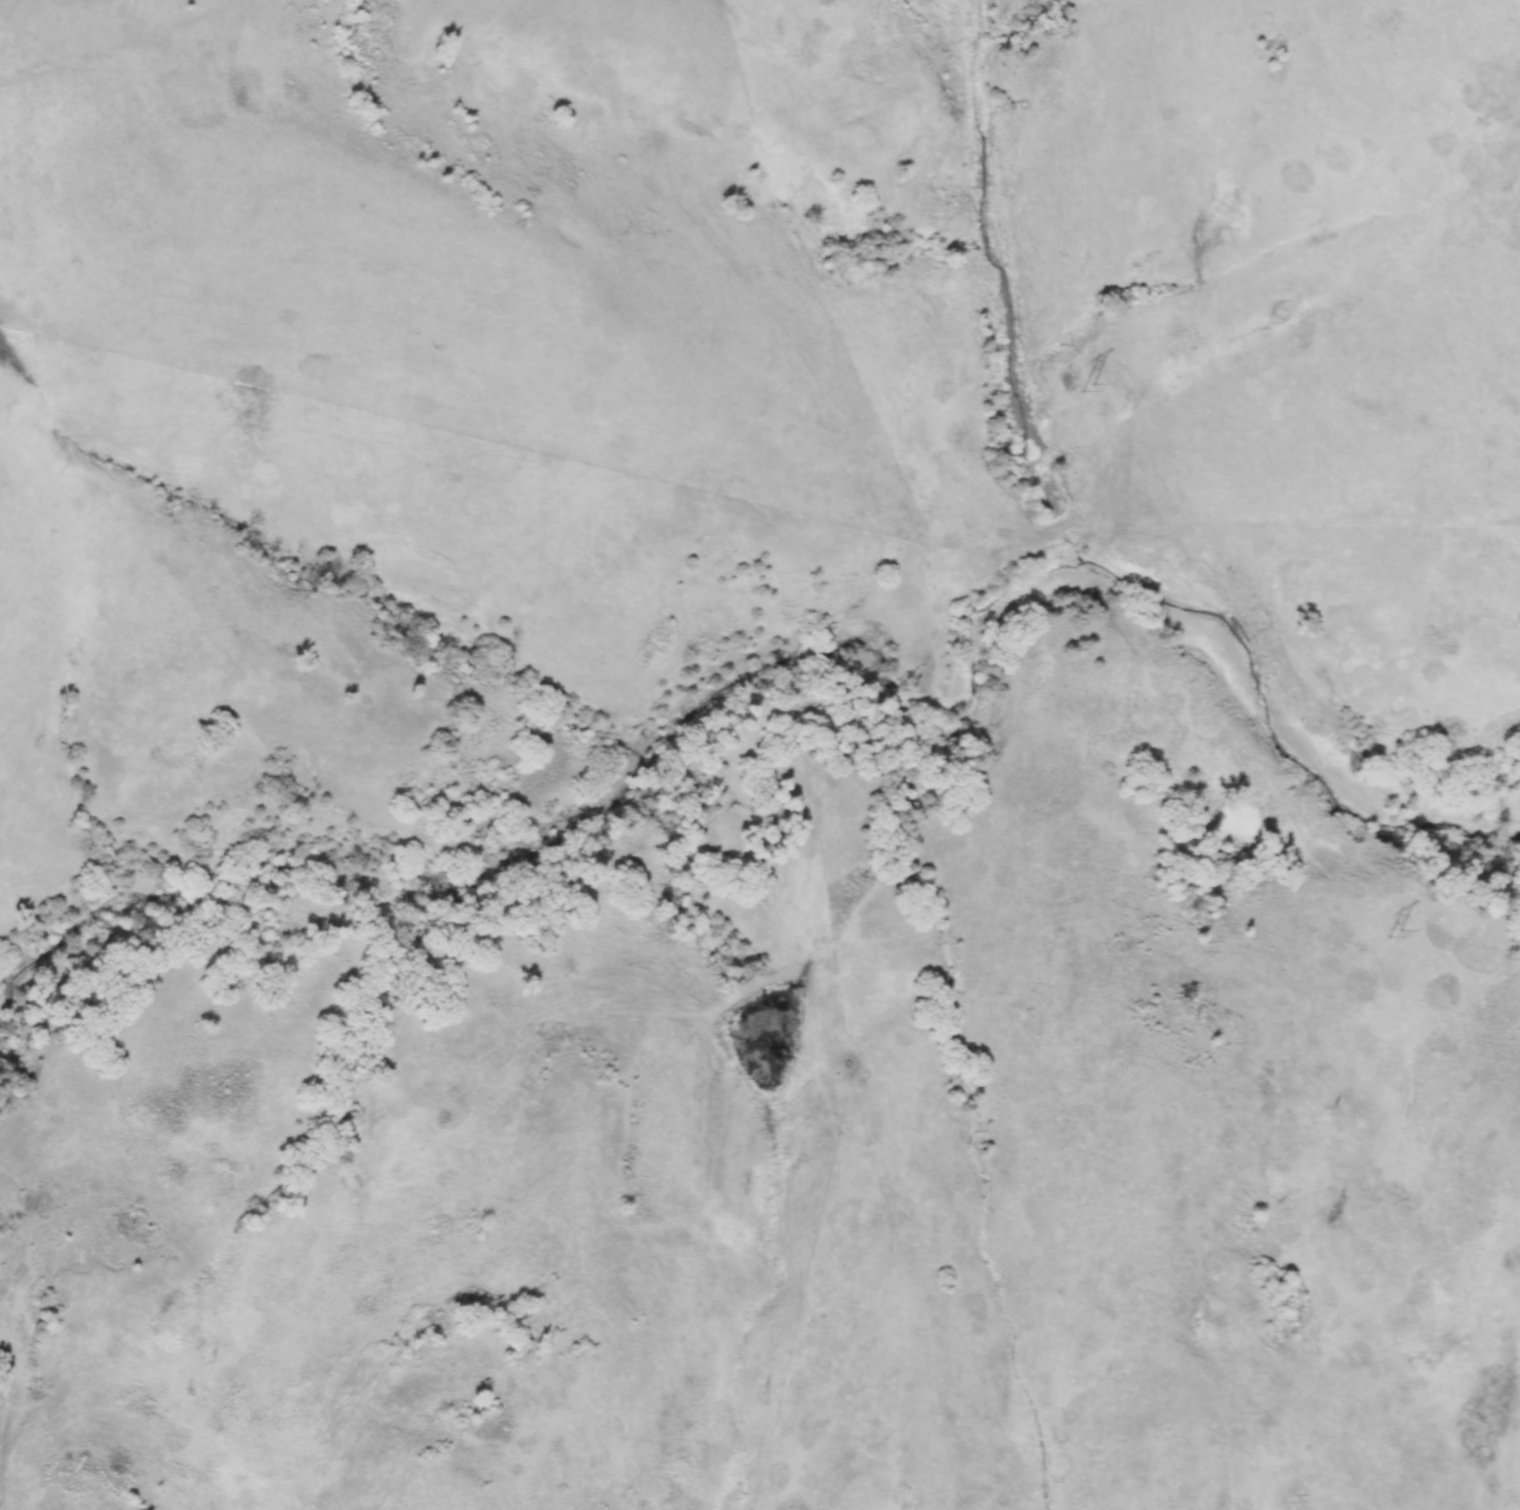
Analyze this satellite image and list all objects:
power tower: (1081, 377)
power tower: (1389, 926)

